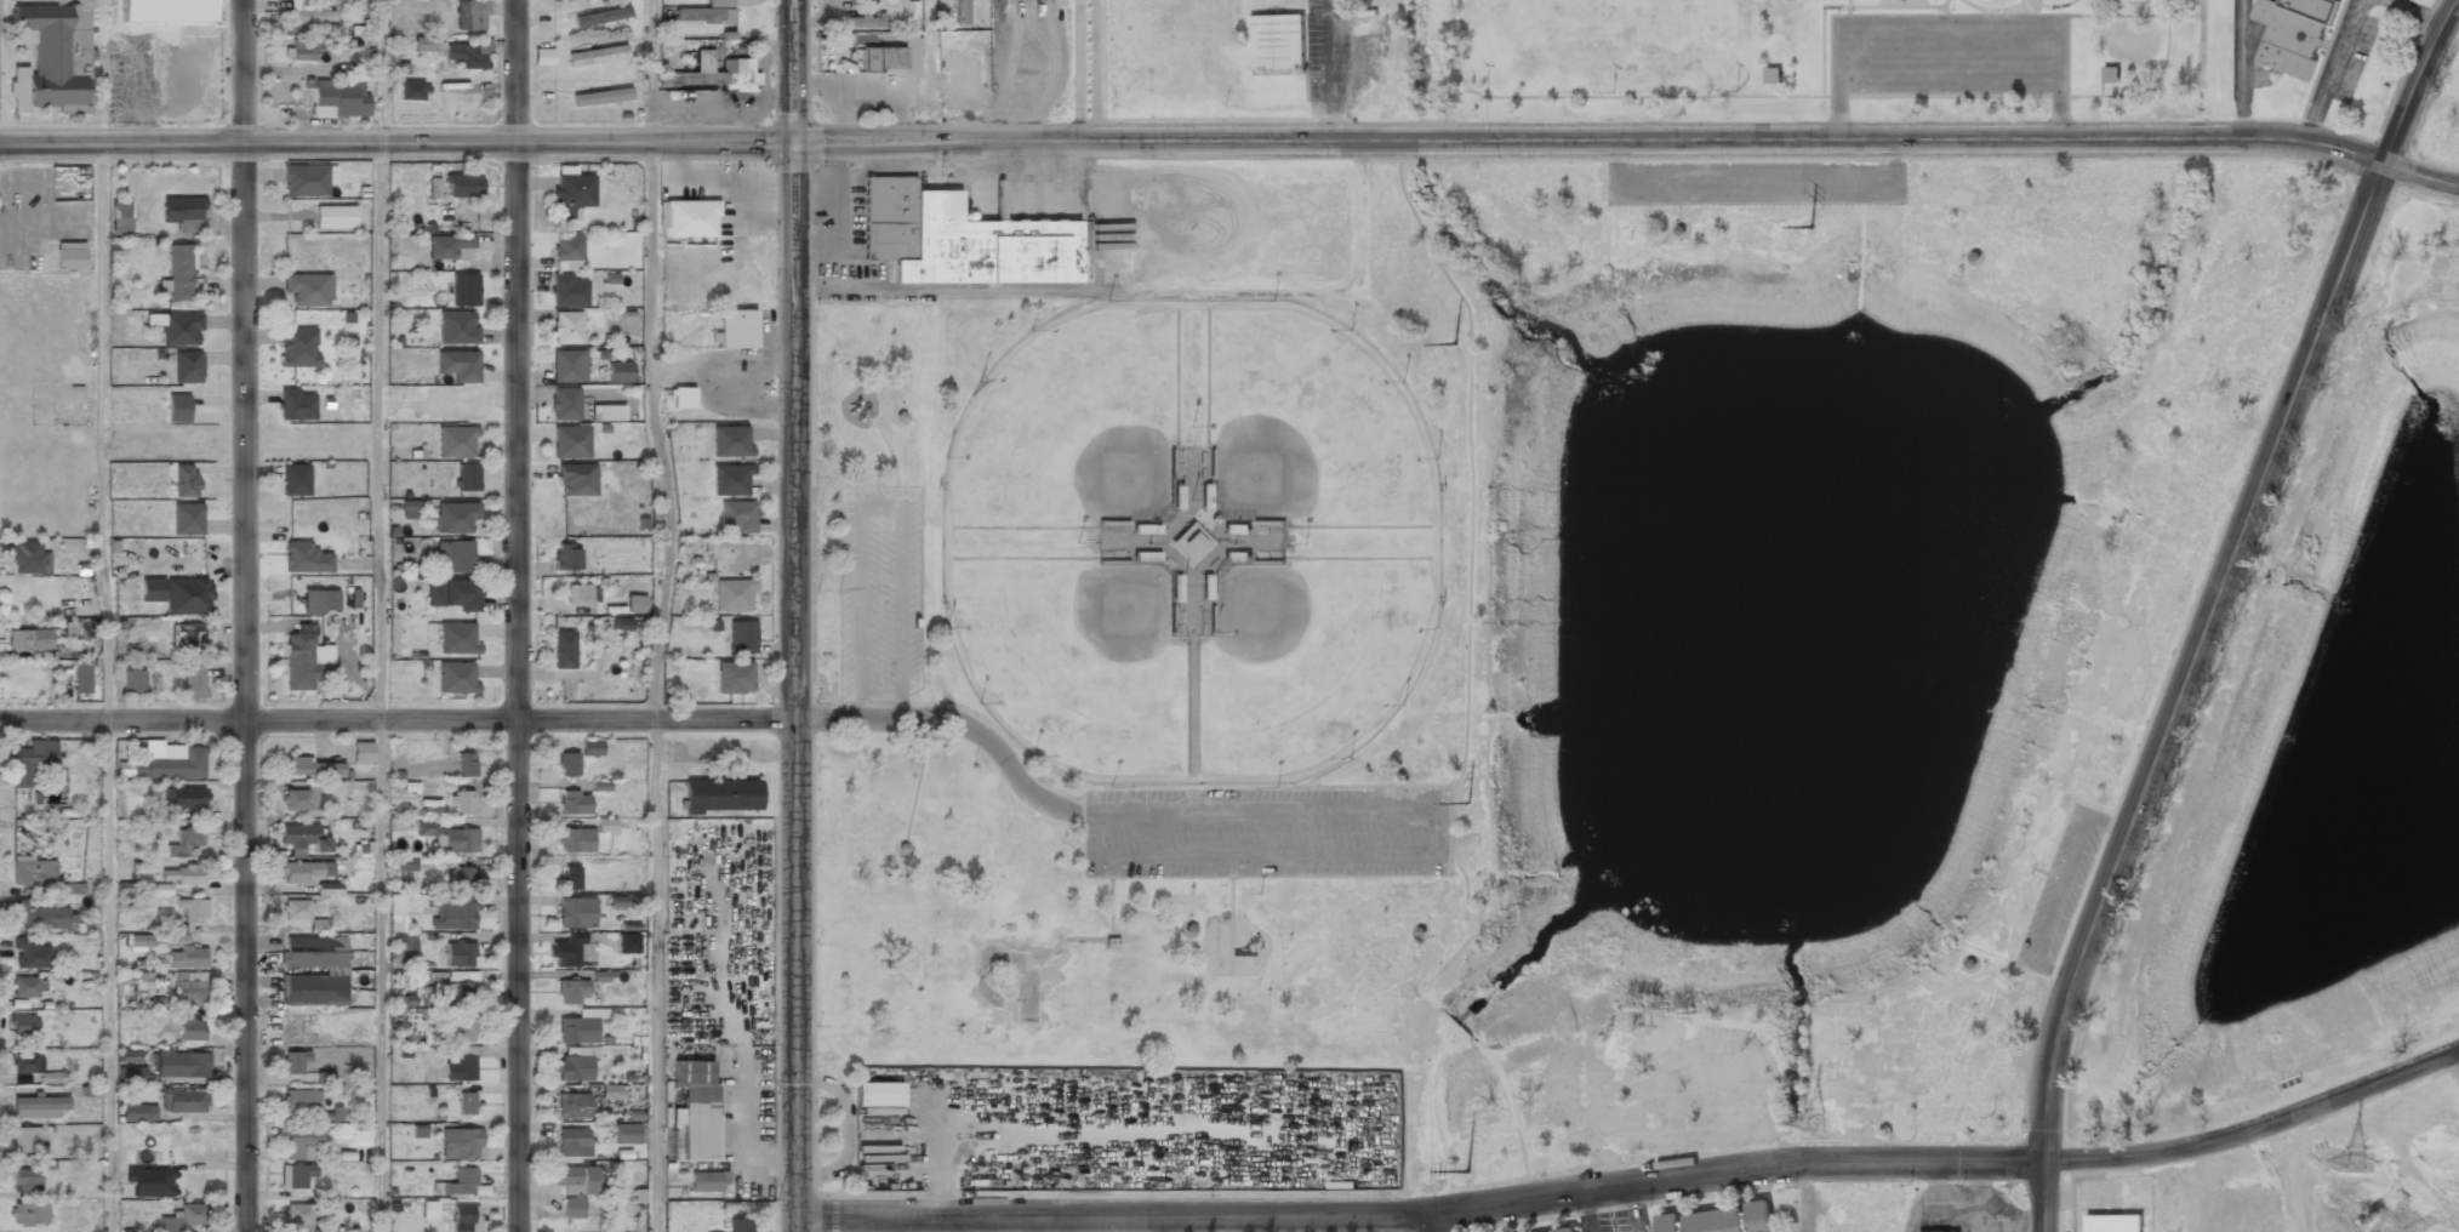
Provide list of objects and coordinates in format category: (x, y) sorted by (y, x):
building: (165, 11)
building: (306, 12)
building: (706, 12)
building: (960, 12)
building: (469, 16)
building: (600, 17)
road: (1848, 17)
building: (863, 23)
park: (1609, 25)
road: (1949, 33)
building: (2292, 33)
building: (25, 36)
building: (1276, 41)
building: (423, 44)
building: (301, 51)
parking lot: (1949, 52)
building: (466, 55)
building: (597, 55)
building: (543, 57)
building: (52, 59)
building: (877, 59)
park: (1824, 59)
road: (792, 70)
road: (380, 72)
road: (650, 72)
building: (714, 74)
building: (1771, 74)
road: (1949, 74)
building: (2111, 75)
building: (965, 79)
road: (2101, 89)
building: (410, 91)
building: (600, 96)
building: (337, 97)
road: (1808, 97)
road: (1838, 105)
road: (2059, 105)
road: (1588, 139)
road: (396, 143)
road: (2419, 177)
building: (304, 181)
parking lot: (1755, 183)
road: (1756, 184)
building: (463, 186)
building: (571, 192)
road: (1679, 204)
building: (183, 213)
building: (333, 217)
building: (121, 218)
building: (686, 218)
road: (1930, 218)
road: (1674, 224)
power tower: (1812, 227)
building: (959, 239)
building: (446, 246)
road: (1967, 251)
building: (566, 252)
building: (69, 258)
building: (178, 273)
building: (307, 289)
building: (463, 290)
building: (567, 290)
building: (176, 327)
building: (457, 327)
building: (565, 327)
building: (736, 330)
power tower: (1455, 342)
building: (297, 347)
building: (457, 364)
building: (567, 366)
building: (187, 367)
building: (618, 373)
building: (683, 398)
building: (296, 404)
building: (564, 405)
building: (177, 410)
road: (894, 410)
building: (607, 413)
park: (1310, 423)
park: (1067, 424)
road: (885, 427)
road: (377, 432)
road: (655, 432)
building: (729, 441)
building: (456, 443)
building: (570, 443)
road: (892, 461)
road: (2244, 466)
building: (466, 478)
building: (295, 480)
building: (576, 480)
building: (730, 480)
building: (186, 483)
road: (1188, 504)
building: (412, 508)
road: (880, 508)
building: (452, 517)
building: (736, 517)
building: (187, 520)
road: (1171, 527)
road: (1152, 543)
road: (1249, 543)
building: (452, 557)
building: (27, 558)
building: (565, 558)
building: (306, 559)
building: (352, 564)
building: (152, 589)
parking lot: (879, 592)
building: (451, 594)
building: (578, 594)
building: (188, 597)
building: (732, 597)
building: (319, 601)
building: (634, 604)
road: (2214, 606)
road: (244, 615)
road: (514, 616)
building: (622, 623)
building: (80, 628)
power tower: (1810, 633)
building: (187, 635)
building: (457, 638)
building: (741, 638)
building: (28, 641)
park: (1537, 641)
building: (563, 649)
road: (1191, 658)
building: (302, 661)
park: (1073, 663)
park: (1307, 663)
building: (456, 677)
building: (734, 678)
building: (80, 679)
building: (192, 680)
building: (132, 683)
road: (793, 686)
road: (107, 688)
road: (1466, 690)
road: (396, 720)
road: (959, 724)
building: (590, 748)
building: (361, 752)
park: (2312, 757)
building: (30, 762)
building: (566, 763)
building: (464, 764)
building: (171, 766)
building: (312, 768)
road: (917, 781)
road: (1112, 787)
building: (721, 795)
building: (183, 799)
building: (298, 799)
building: (463, 799)
building: (572, 800)
power tower: (1468, 802)
building: (605, 825)
parking lot: (1268, 832)
building: (444, 835)
building: (301, 837)
building: (576, 840)
building: (184, 842)
road: (896, 844)
road: (1442, 852)
building: (405, 863)
building: (2025, 865)
building: (139, 872)
building: (299, 872)
building: (33, 873)
road: (2047, 873)
building: (179, 874)
building: (458, 878)
building: (570, 878)
road: (2060, 888)
parking lot: (2061, 888)
building: (160, 889)
road: (1109, 896)
road: (1208, 908)
building: (296, 911)
building: (452, 912)
building: (193, 913)
building: (576, 913)
road: (1229, 916)
building: (38, 917)
road: (1182, 923)
building: (316, 926)
road: (1415, 926)
road: (1447, 931)
building: (405, 941)
building: (137, 942)
building: (1112, 942)
building: (627, 943)
building: (566, 951)
building: (314, 952)
building: (460, 954)
building: (28, 956)
building: (184, 958)
road: (1966, 958)
road: (2006, 962)
road: (654, 975)
road: (380, 976)
park: (1015, 976)
building: (24, 988)
building: (313, 989)
building: (571, 991)
building: (188, 992)
building: (461, 992)
building: (22, 1025)
building: (578, 1026)
building: (464, 1029)
building: (190, 1031)
building: (129, 1056)
building: (295, 1063)
building: (182, 1065)
building: (462, 1065)
building: (571, 1067)
building: (34, 1068)
building: (125, 1074)
building: (610, 1091)
building: (877, 1095)
building: (299, 1101)
building: (183, 1102)
building: (466, 1103)
building: (38, 1106)
building: (571, 1106)
building: (696, 1107)
building: (138, 1113)
power tower: (1810, 1122)
building: (626, 1133)
building: (298, 1137)
building: (25, 1140)
building: (571, 1142)
building: (458, 1143)
power tower: (2354, 1158)
power tower: (1466, 1171)
building: (293, 1175)
building: (24, 1181)
building: (706, 1182)
building: (149, 1183)
building: (458, 1183)
road: (1634, 1183)
building: (572, 1191)
building: (429, 1209)
building: (25, 1215)
building: (182, 1217)
building: (297, 1217)
building: (464, 1219)
building: (1719, 1220)
road: (1434, 1222)
building: (2113, 1224)
building: (738, 1226)
building: (1565, 1231)

